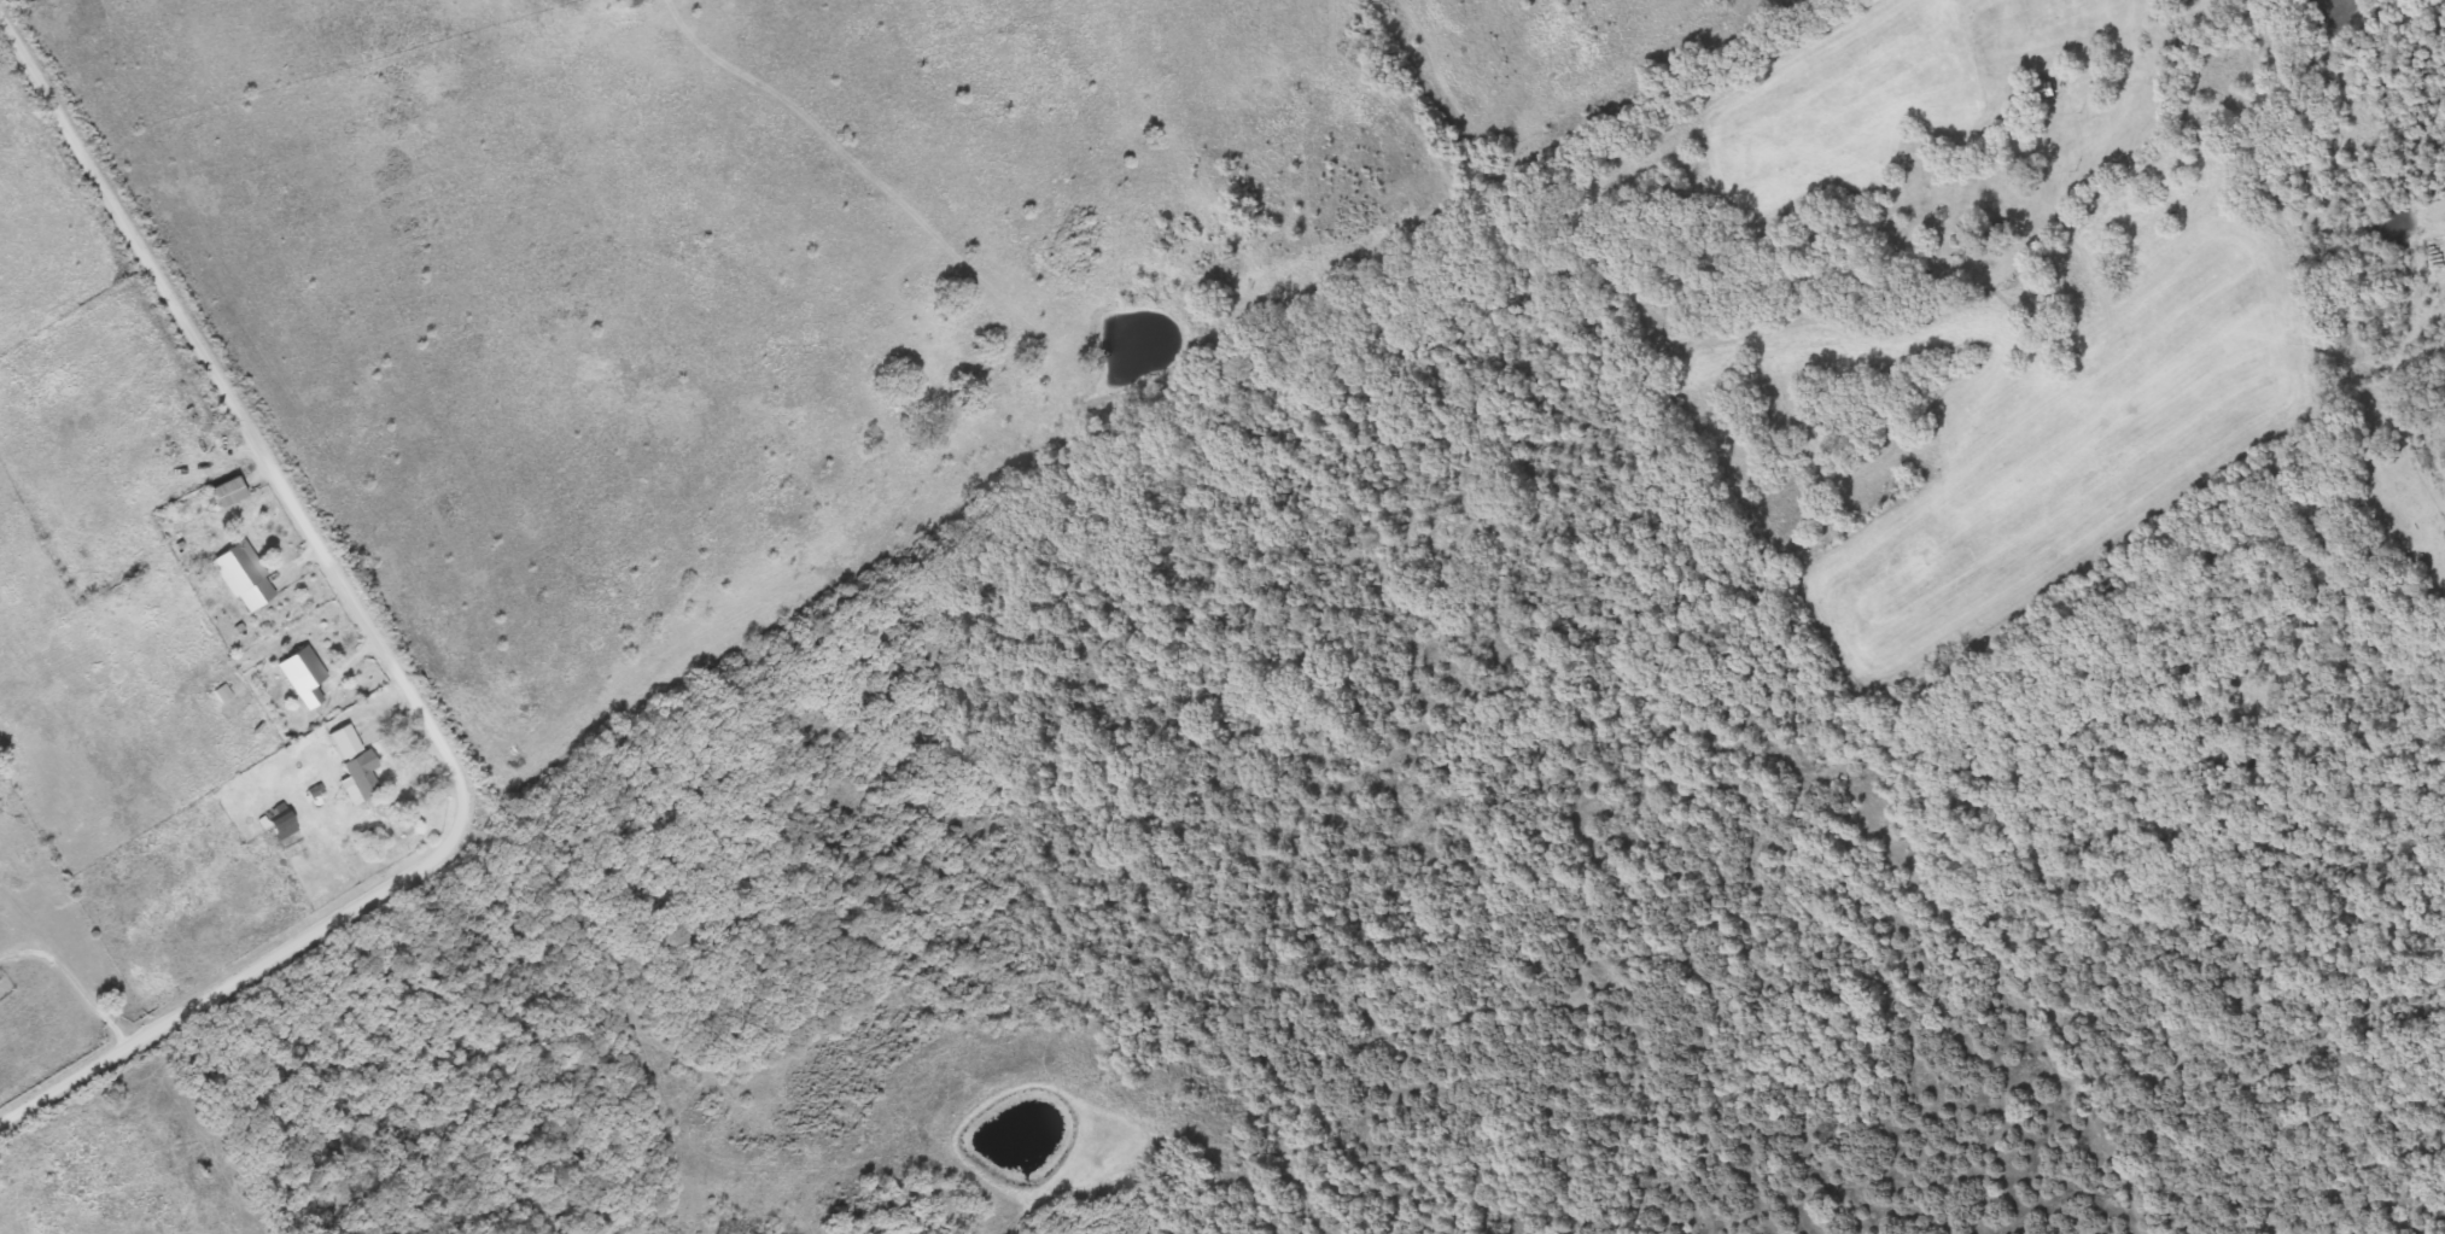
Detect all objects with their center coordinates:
building: (2053, 89)
building: (226, 491)
building: (240, 575)
road: (381, 649)
building: (296, 667)
building: (344, 742)
road: (2432, 770)
building: (360, 779)
building: (279, 821)
road: (71, 976)
road: (764, 1076)

